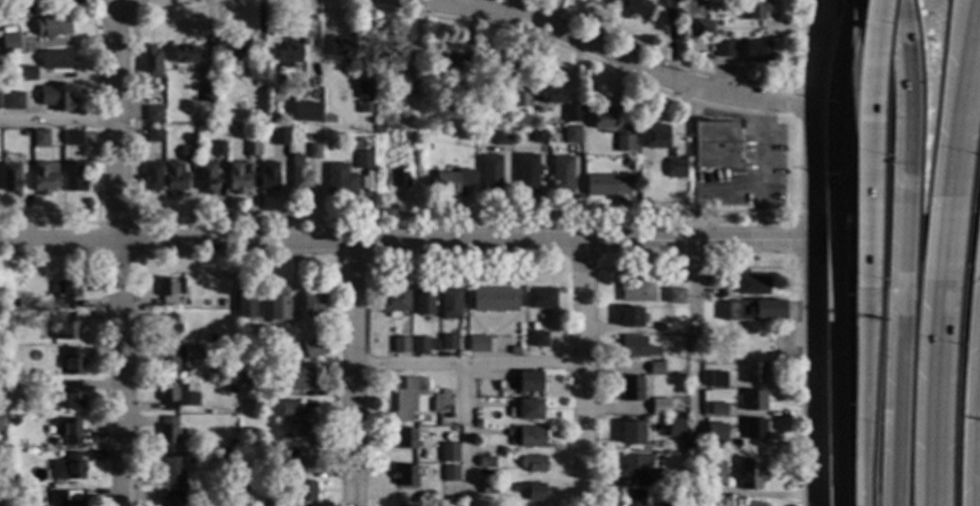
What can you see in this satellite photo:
building: (30, 1)
building: (636, 7)
building: (752, 10)
road: (149, 11)
building: (17, 12)
building: (719, 23)
building: (53, 27)
building: (702, 28)
building: (9, 30)
building: (736, 41)
building: (10, 42)
building: (237, 42)
building: (343, 46)
road: (869, 48)
building: (724, 49)
road: (602, 50)
building: (755, 51)
building: (289, 52)
building: (186, 54)
building: (393, 56)
building: (58, 60)
building: (445, 63)
building: (150, 65)
building: (255, 69)
building: (27, 73)
building: (499, 77)
building: (307, 81)
building: (258, 83)
building: (467, 85)
building: (364, 90)
building: (550, 92)
building: (207, 93)
building: (412, 93)
building: (57, 97)
road: (901, 97)
building: (521, 98)
building: (13, 100)
road: (832, 100)
road: (962, 100)
building: (470, 102)
building: (364, 108)
building: (153, 111)
building: (306, 113)
building: (572, 114)
building: (325, 118)
building: (603, 119)
road: (811, 119)
road: (60, 121)
building: (379, 129)
building: (154, 134)
building: (572, 134)
building: (501, 135)
building: (538, 135)
building: (311, 136)
building: (280, 137)
building: (41, 138)
building: (73, 138)
building: (657, 138)
building: (624, 143)
building: (716, 146)
building: (251, 148)
building: (219, 149)
building: (313, 151)
building: (188, 153)
building: (362, 159)
building: (628, 162)
building: (678, 170)
road: (762, 170)
building: (490, 173)
building: (527, 174)
building: (300, 175)
building: (561, 175)
building: (44, 177)
building: (74, 177)
building: (151, 177)
building: (11, 178)
building: (206, 178)
building: (238, 178)
building: (269, 178)
building: (397, 178)
building: (176, 179)
building: (340, 181)
building: (449, 181)
building: (606, 185)
road: (729, 188)
road: (867, 199)
road: (405, 240)
road: (895, 241)
road: (942, 245)
road: (898, 246)
road: (830, 247)
road: (118, 252)
building: (711, 282)
building: (752, 285)
building: (169, 290)
building: (66, 291)
building: (635, 291)
building: (674, 296)
building: (540, 298)
building: (494, 300)
building: (394, 302)
building: (424, 302)
building: (13, 303)
building: (222, 304)
building: (246, 304)
building: (313, 304)
building: (449, 304)
building: (278, 307)
building: (753, 310)
building: (629, 318)
building: (2, 323)
building: (168, 326)
building: (532, 326)
building: (62, 327)
building: (260, 333)
building: (211, 338)
building: (537, 339)
building: (448, 342)
building: (477, 344)
building: (400, 345)
building: (419, 346)
building: (312, 348)
building: (635, 348)
building: (514, 351)
building: (663, 352)
building: (276, 358)
road: (694, 358)
building: (173, 360)
building: (73, 362)
road: (468, 362)
building: (62, 367)
building: (655, 368)
building: (225, 369)
road: (585, 372)
road: (352, 373)
building: (753, 373)
road: (811, 373)
building: (295, 378)
building: (717, 380)
building: (529, 382)
building: (49, 384)
building: (631, 389)
building: (267, 391)
building: (172, 396)
building: (74, 397)
road: (931, 397)
building: (408, 399)
road: (830, 399)
building: (752, 401)
road: (893, 401)
building: (441, 402)
road: (863, 403)
road: (979, 403)
building: (659, 407)
building: (675, 408)
building: (717, 409)
building: (527, 410)
building: (15, 420)
building: (297, 420)
building: (0, 422)
building: (477, 424)
building: (675, 428)
building: (753, 429)
building: (68, 430)
building: (168, 430)
building: (631, 433)
building: (715, 433)
road: (466, 434)
building: (531, 437)
building: (405, 439)
building: (231, 443)
building: (502, 450)
building: (744, 450)
building: (448, 453)
building: (229, 456)
building: (300, 459)
road: (978, 460)
building: (485, 462)
building: (532, 463)
building: (635, 465)
building: (68, 468)
building: (176, 468)
building: (279, 473)
building: (715, 473)
building: (450, 474)
building: (748, 475)
building: (405, 476)
building: (656, 478)
building: (12, 480)
building: (514, 488)
building: (488, 489)
building: (2, 492)
building: (304, 492)
building: (534, 492)
building: (13, 493)
building: (635, 497)
building: (65, 498)
building: (173, 498)
building: (276, 498)
building: (447, 504)
building: (669, 504)
building: (752, 504)

